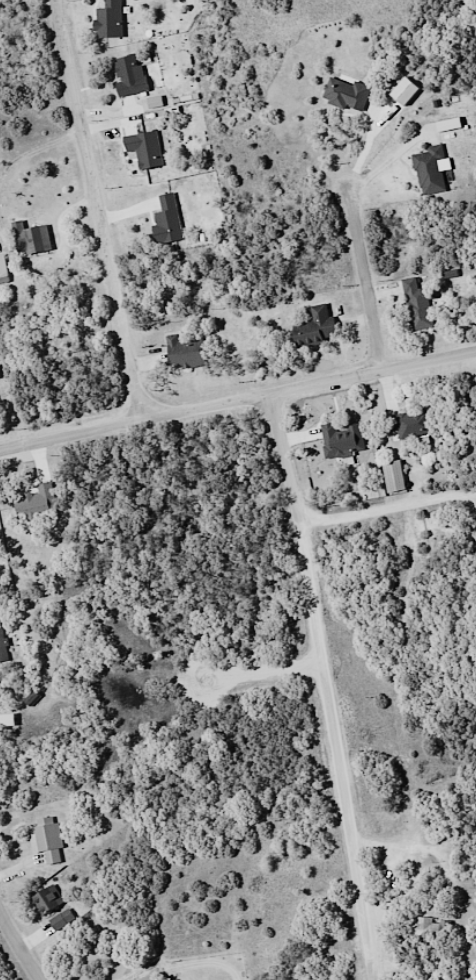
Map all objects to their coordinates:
building: (107, 20)
building: (128, 76)
building: (345, 94)
building: (143, 149)
building: (428, 171)
road: (103, 210)
building: (165, 220)
building: (30, 239)
road: (369, 270)
building: (416, 306)
building: (314, 328)
building: (183, 352)
road: (238, 404)
building: (414, 424)
building: (339, 440)
building: (392, 476)
road: (444, 494)
road: (278, 508)
road: (449, 607)
building: (2, 647)
road: (403, 679)
building: (46, 839)
building: (46, 900)
building: (56, 923)
building: (430, 930)
road: (22, 940)
building: (390, 966)

